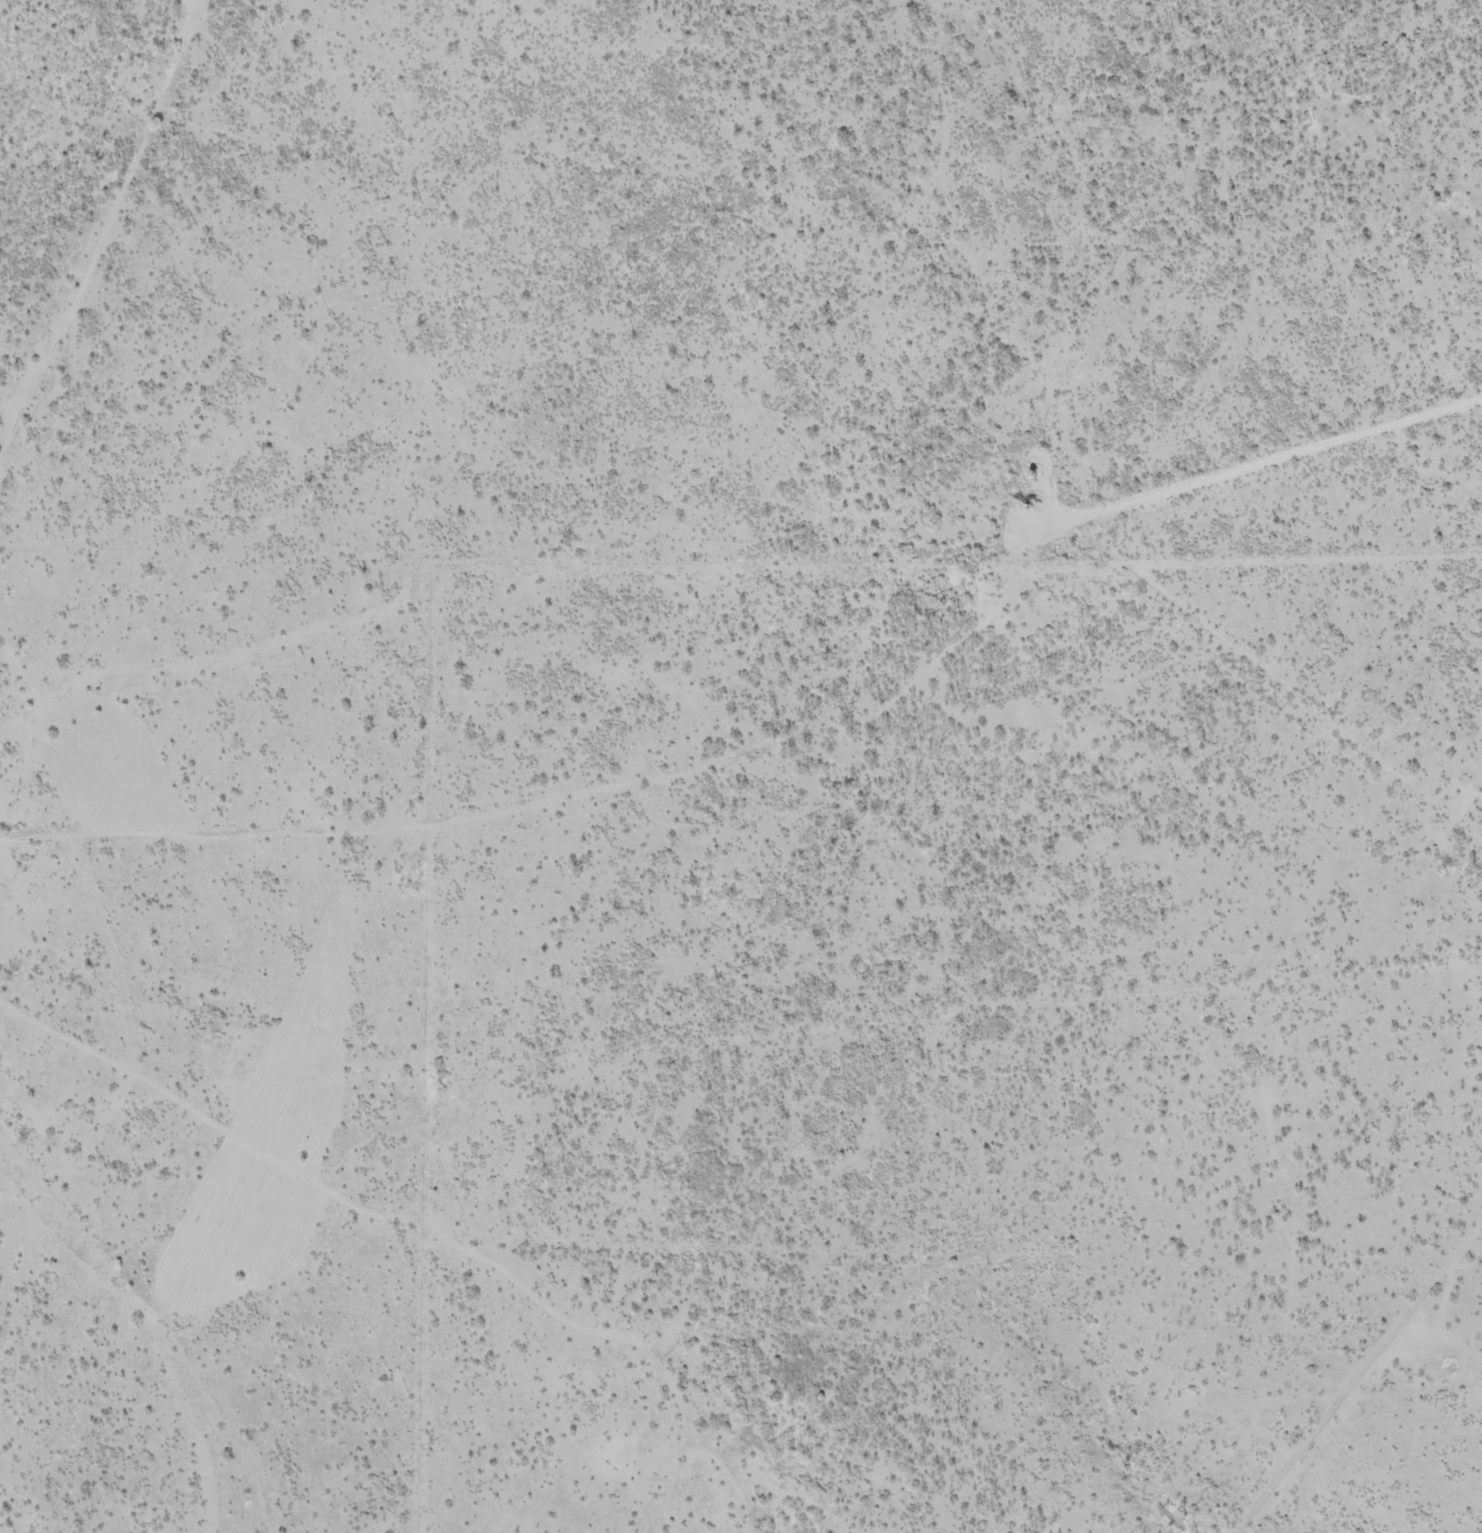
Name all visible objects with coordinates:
road: (110, 251)
road: (785, 745)

